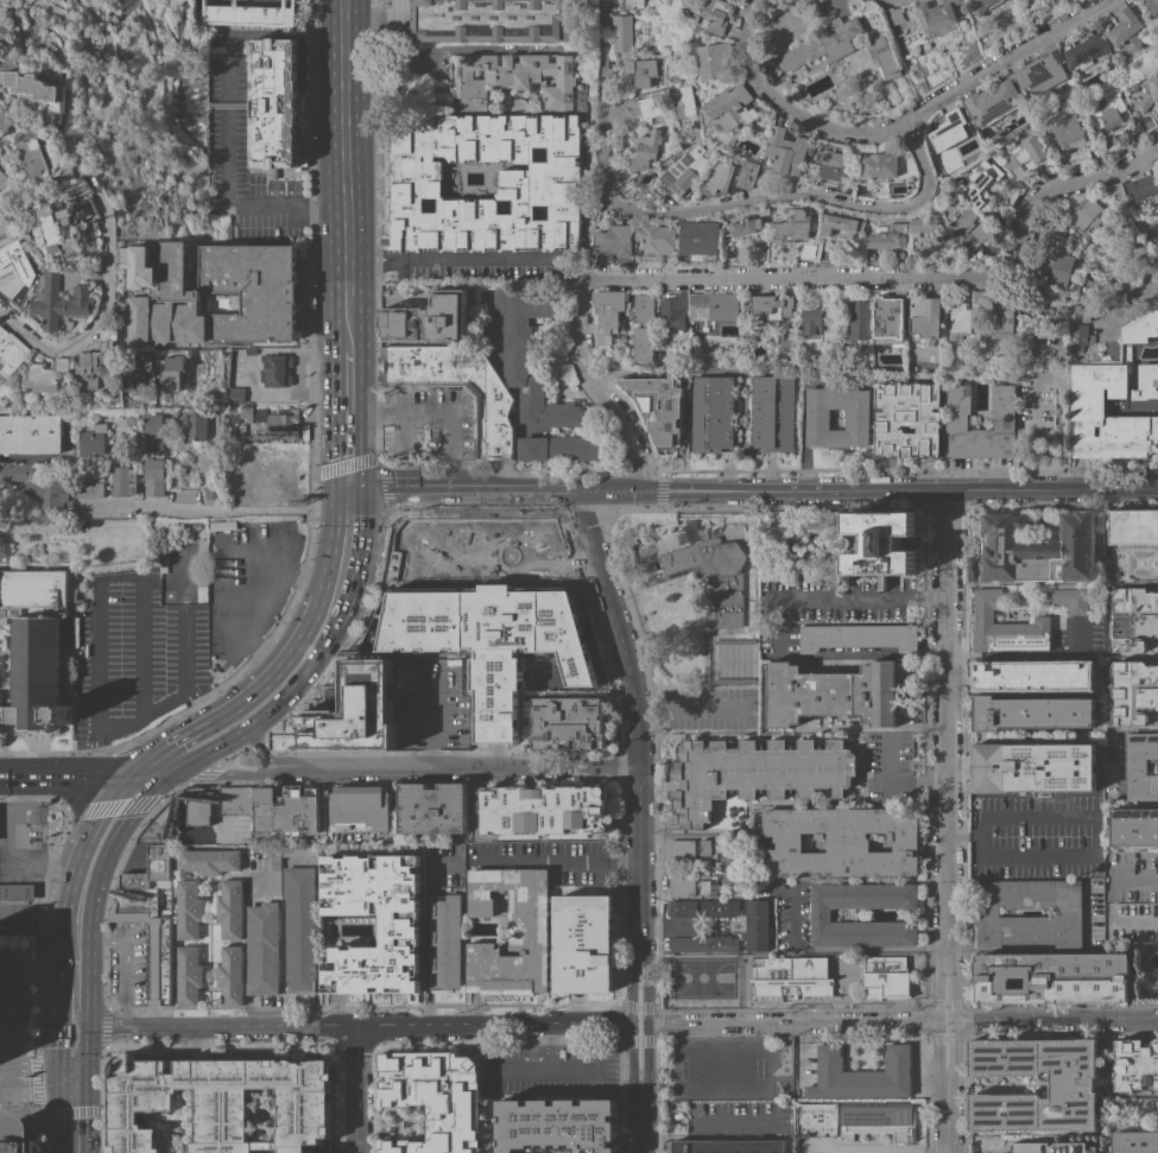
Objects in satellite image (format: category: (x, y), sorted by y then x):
building: (627, 5)
building: (982, 6)
building: (1152, 6)
building: (249, 13)
building: (894, 14)
building: (937, 14)
building: (719, 15)
building: (491, 19)
building: (1126, 30)
building: (620, 32)
building: (824, 44)
building: (51, 46)
building: (188, 46)
road: (515, 49)
building: (1087, 52)
building: (887, 56)
building: (717, 61)
building: (1110, 64)
building: (640, 69)
building: (1040, 72)
building: (514, 77)
building: (40, 91)
building: (1147, 93)
building: (580, 95)
road: (602, 100)
building: (684, 101)
building: (993, 102)
building: (0, 103)
building: (273, 104)
road: (229, 106)
building: (732, 108)
building: (635, 109)
building: (1106, 109)
building: (7, 121)
road: (900, 122)
building: (1146, 122)
building: (950, 131)
building: (1068, 132)
building: (1132, 132)
building: (993, 138)
road: (233, 140)
parking lot: (240, 145)
building: (1095, 151)
building: (785, 152)
building: (39, 153)
building: (641, 154)
building: (1030, 157)
road: (343, 159)
building: (4, 160)
building: (829, 161)
building: (879, 165)
building: (686, 170)
building: (747, 173)
building: (4, 178)
building: (539, 178)
building: (719, 178)
building: (983, 183)
building: (1011, 184)
building: (624, 186)
building: (1143, 186)
building: (843, 188)
building: (1115, 190)
road: (805, 194)
building: (881, 194)
road: (306, 205)
building: (947, 205)
building: (1088, 214)
building: (65, 221)
building: (837, 222)
building: (743, 224)
building: (795, 226)
building: (1156, 227)
building: (923, 229)
building: (970, 229)
building: (890, 236)
building: (657, 240)
building: (700, 240)
building: (614, 245)
building: (806, 252)
building: (828, 253)
road: (401, 259)
road: (495, 259)
road: (321, 265)
building: (1059, 272)
road: (1146, 273)
road: (904, 277)
building: (243, 291)
building: (980, 297)
building: (65, 302)
road: (115, 304)
building: (715, 305)
building: (773, 305)
building: (644, 308)
building: (1070, 311)
building: (673, 312)
building: (608, 315)
building: (888, 316)
building: (924, 316)
building: (429, 318)
road: (321, 319)
building: (858, 319)
building: (958, 319)
building: (1002, 321)
building: (809, 323)
building: (74, 324)
building: (1080, 337)
building: (641, 343)
building: (518, 349)
building: (248, 350)
building: (12, 351)
building: (100, 357)
road: (346, 367)
building: (141, 368)
building: (276, 369)
building: (172, 370)
building: (49, 375)
building: (1099, 380)
building: (457, 388)
road: (594, 391)
building: (234, 392)
building: (659, 406)
road: (801, 406)
building: (773, 412)
building: (253, 413)
building: (713, 413)
road: (436, 414)
building: (907, 418)
building: (84, 420)
building: (129, 420)
building: (858, 420)
parking lot: (432, 422)
building: (957, 422)
building: (280, 424)
building: (194, 425)
road: (404, 430)
building: (153, 431)
building: (30, 433)
building: (91, 441)
building: (564, 448)
road: (347, 452)
building: (19, 471)
building: (153, 476)
building: (124, 481)
road: (530, 488)
road: (587, 488)
road: (879, 488)
building: (88, 489)
road: (398, 489)
road: (468, 489)
traffic signals: (347, 490)
building: (211, 492)
building: (49, 493)
road: (347, 500)
road: (160, 508)
road: (295, 508)
building: (1133, 527)
building: (204, 533)
building: (685, 536)
building: (202, 543)
building: (881, 543)
building: (906, 543)
building: (1039, 549)
building: (5, 550)
road: (343, 555)
building: (647, 569)
building: (715, 576)
building: (1071, 600)
road: (861, 601)
road: (260, 607)
road: (324, 616)
building: (1133, 617)
building: (1005, 626)
building: (858, 636)
building: (488, 639)
building: (34, 646)
road: (144, 650)
road: (96, 653)
road: (189, 653)
parking lot: (137, 655)
road: (850, 655)
road: (315, 669)
building: (989, 673)
road: (992, 677)
road: (285, 679)
building: (1133, 691)
building: (831, 693)
road: (284, 704)
road: (335, 704)
road: (689, 707)
building: (1032, 712)
building: (350, 714)
road: (430, 714)
road: (633, 714)
road: (949, 717)
road: (146, 720)
road: (236, 722)
building: (569, 722)
road: (246, 733)
road: (184, 749)
road: (266, 765)
building: (1141, 766)
building: (1033, 767)
road: (463, 768)
road: (247, 772)
building: (754, 773)
road: (6, 775)
road: (50, 775)
road: (176, 775)
road: (118, 777)
traffic signals: (148, 778)
road: (894, 784)
road: (75, 790)
building: (235, 799)
building: (198, 806)
building: (434, 807)
building: (287, 809)
building: (360, 809)
road: (90, 810)
road: (6, 811)
building: (542, 811)
road: (12, 821)
road: (6, 822)
road: (1023, 823)
road: (105, 825)
building: (164, 825)
building: (1134, 826)
road: (6, 834)
building: (841, 841)
building: (299, 849)
building: (682, 849)
building: (708, 849)
road: (1008, 855)
building: (208, 860)
road: (545, 860)
road: (621, 863)
building: (730, 867)
building: (151, 870)
building: (274, 870)
road: (46, 873)
road: (12, 874)
road: (1137, 878)
building: (682, 885)
building: (708, 885)
road: (12, 891)
building: (17, 891)
gas station: (17, 891)
road: (42, 902)
road: (12, 907)
road: (75, 907)
building: (682, 907)
building: (720, 907)
building: (188, 908)
building: (230, 908)
building: (988, 912)
building: (821, 914)
road: (37, 919)
building: (757, 925)
building: (299, 929)
road: (424, 929)
building: (400, 930)
building: (511, 932)
road: (72, 936)
building: (148, 937)
building: (445, 942)
building: (583, 943)
building: (704, 943)
road: (841, 948)
building: (262, 949)
road: (1050, 949)
road: (125, 957)
road: (70, 958)
road: (6, 959)
parking lot: (127, 962)
building: (189, 975)
building: (230, 975)
park: (702, 977)
building: (792, 977)
building: (885, 977)
building: (1051, 977)
road: (68, 1003)
road: (948, 1003)
road: (643, 1006)
road: (18, 1012)
park: (765, 1014)
road: (1057, 1021)
road: (939, 1022)
road: (956, 1022)
road: (634, 1024)
road: (650, 1024)
road: (948, 1024)
road: (795, 1025)
road: (643, 1027)
road: (379, 1028)
road: (95, 1030)
traffic signals: (108, 1030)
road: (949, 1037)
road: (643, 1039)
traffic signals: (68, 1047)
road: (68, 1051)
building: (1137, 1065)
road: (33, 1069)
park: (722, 1069)
building: (556, 1072)
building: (860, 1075)
road: (36, 1081)
road: (69, 1082)
building: (1071, 1084)
road: (359, 1091)
traffic signals: (31, 1094)
road: (36, 1094)
building: (434, 1098)
building: (221, 1102)
road: (36, 1108)
traffic signals: (71, 1116)
building: (816, 1119)
building: (878, 1120)
building: (562, 1121)
road: (71, 1123)
road: (948, 1125)
road: (644, 1126)
building: (14, 1128)
parking lot: (17, 1135)
building: (1135, 1141)
building: (729, 1146)
building: (1051, 1147)
road: (844, 1151)

